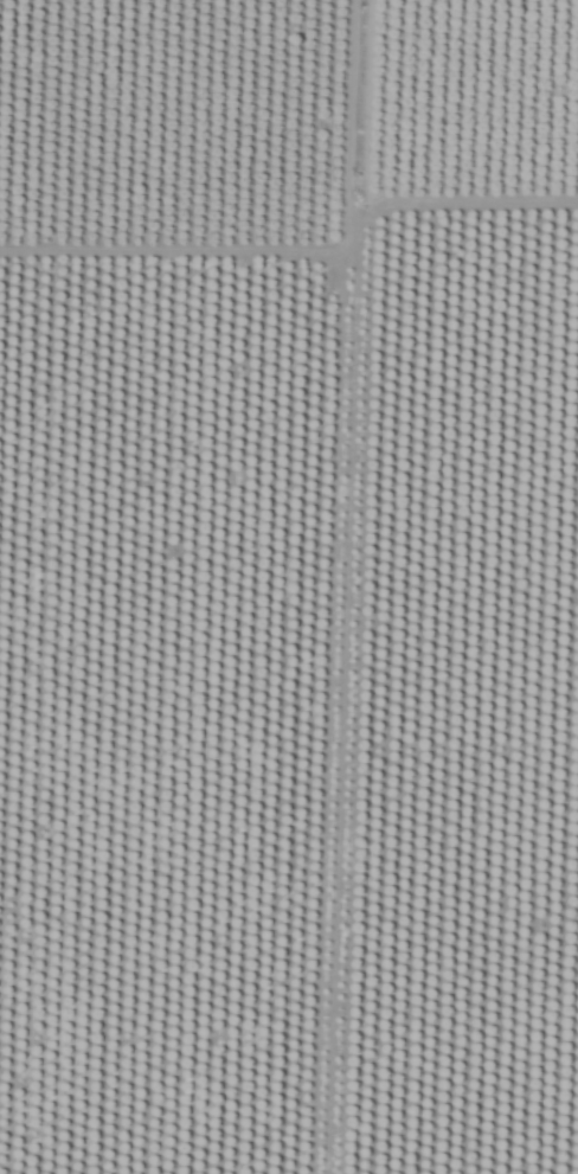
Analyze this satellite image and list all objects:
crop: (289, 586)

